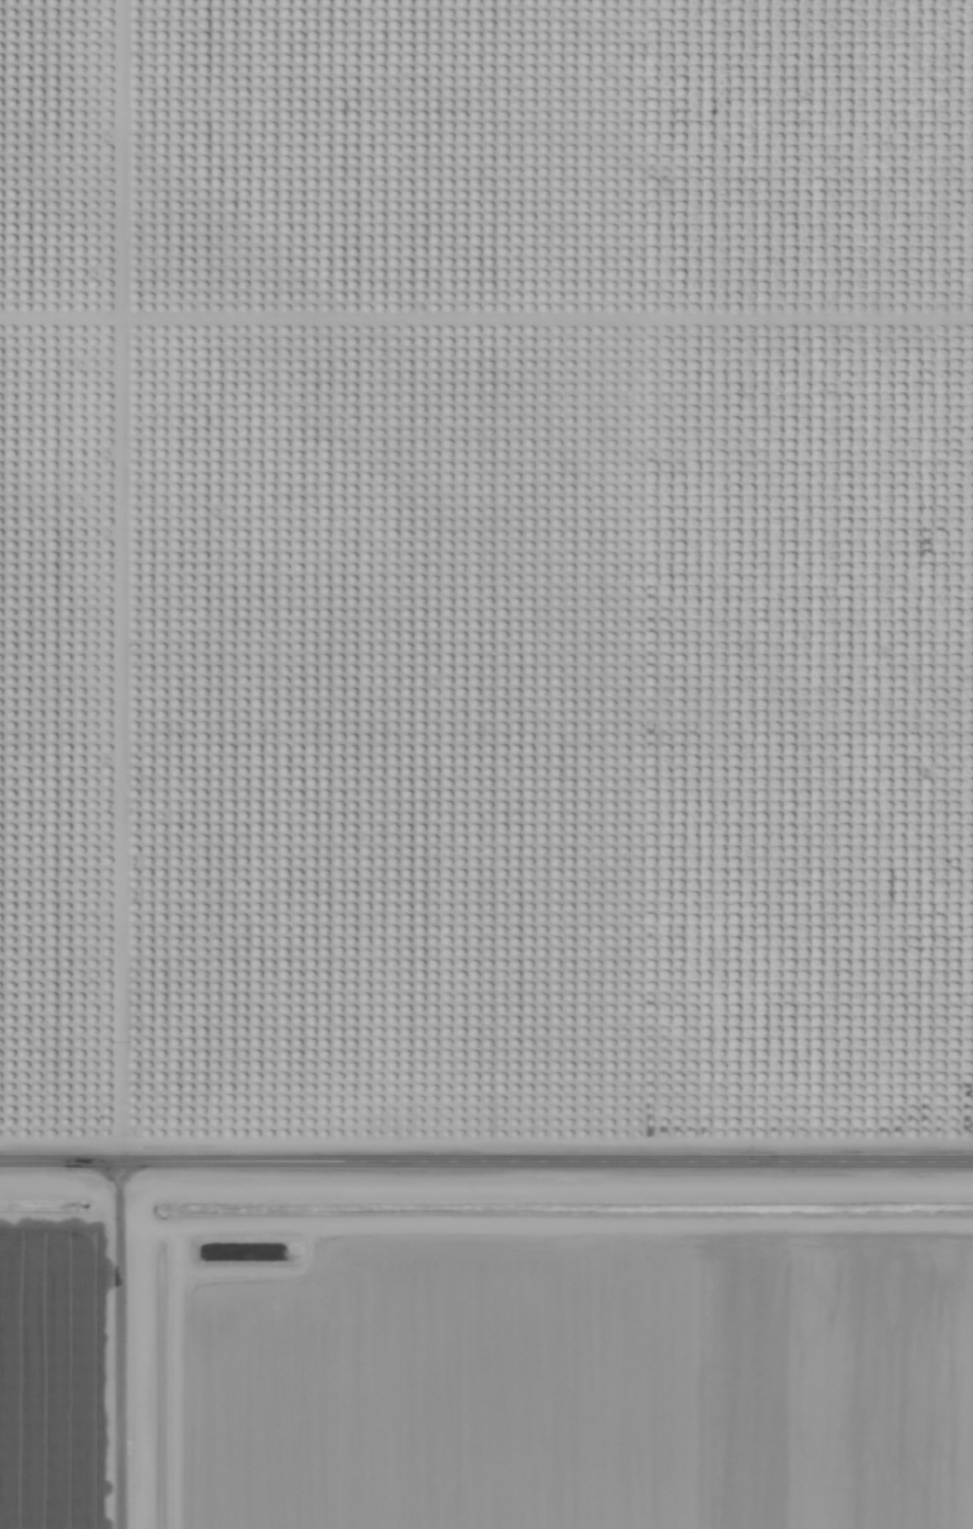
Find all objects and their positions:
road: (120, 580)
road: (486, 1163)
road: (120, 1345)
crop: (52, 1355)
crop: (575, 1380)

